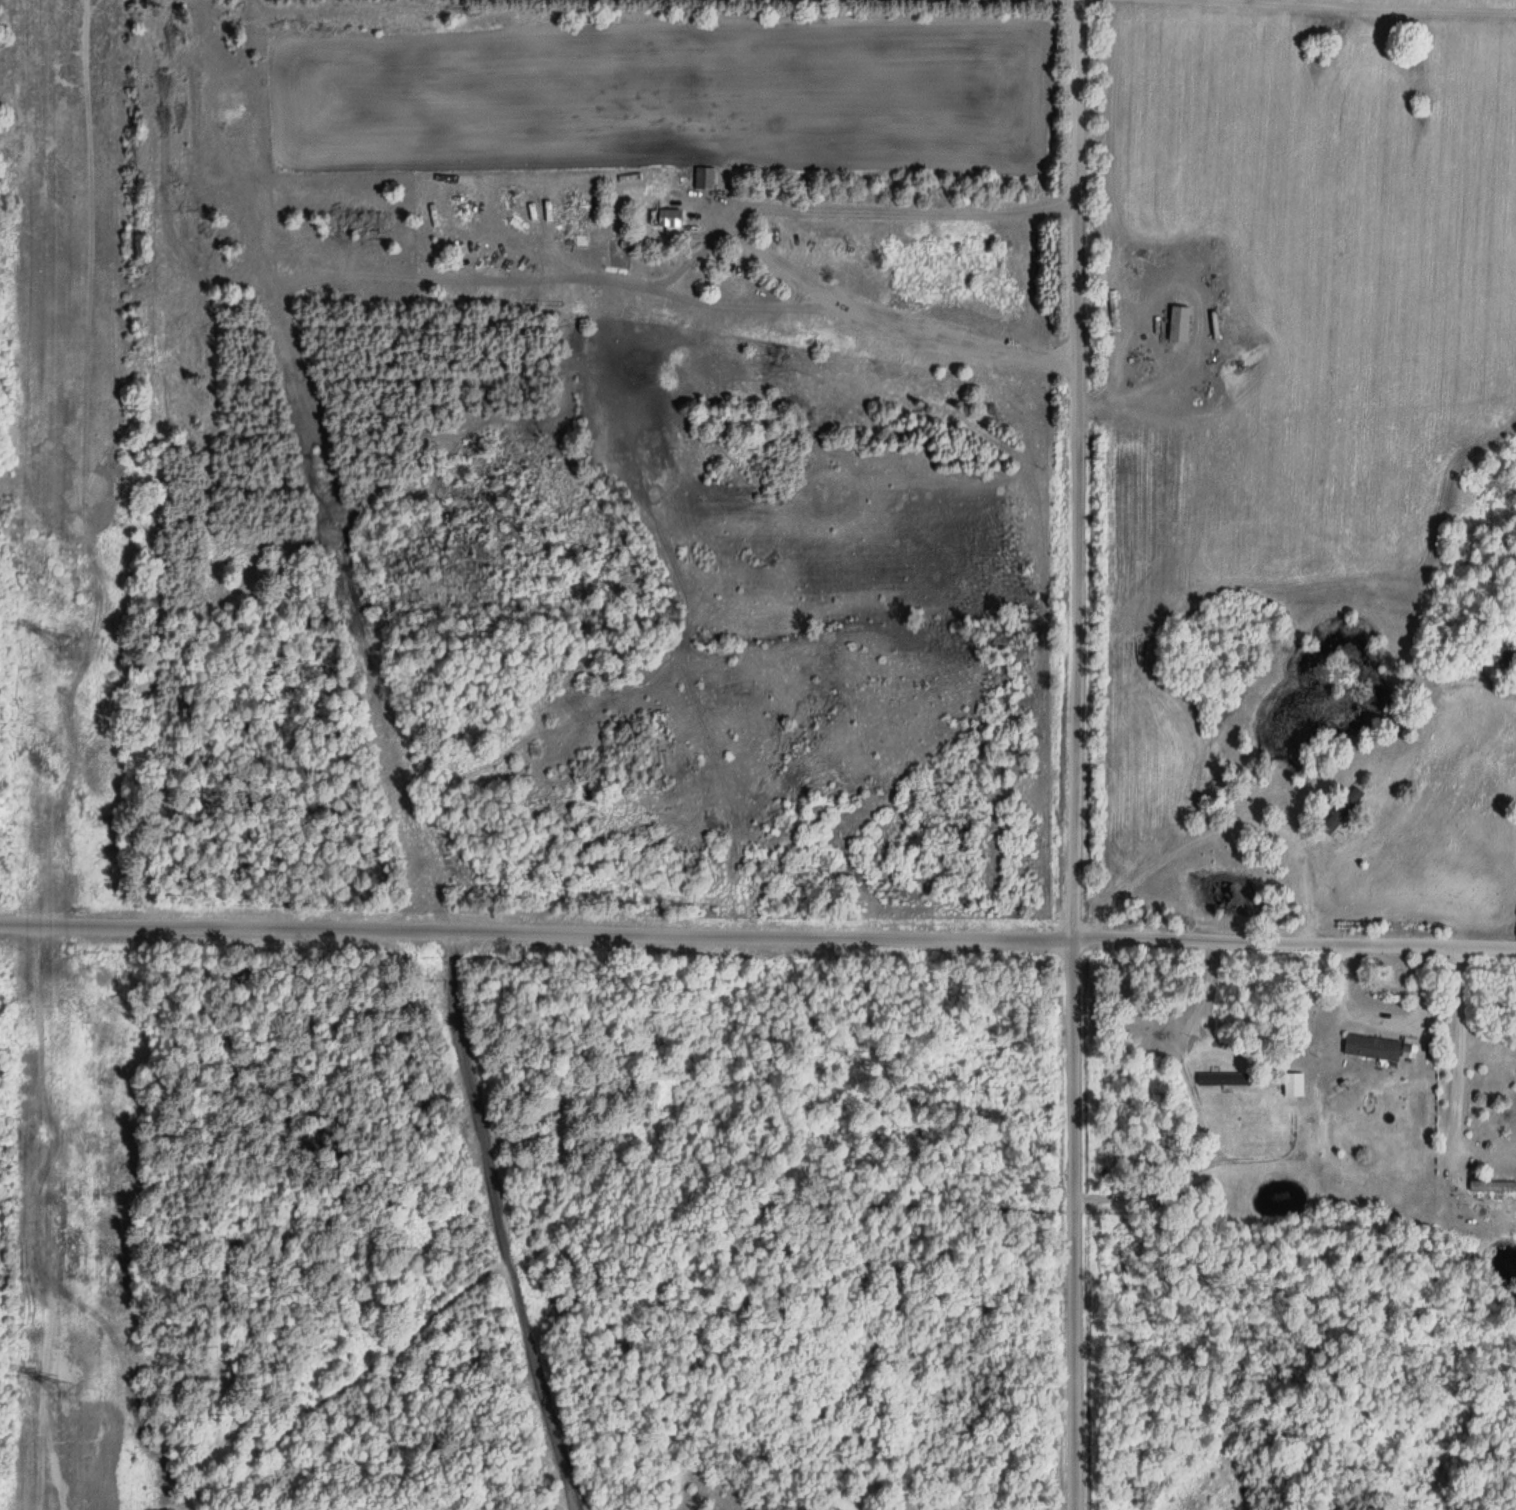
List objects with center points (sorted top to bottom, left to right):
building: (700, 178)
building: (666, 220)
building: (1177, 324)
power tower: (73, 648)
road: (1062, 755)
building: (1339, 809)
road: (758, 918)
building: (1368, 1046)
building: (1219, 1078)
building: (1291, 1083)
building: (1488, 1183)
power tower: (70, 1390)

